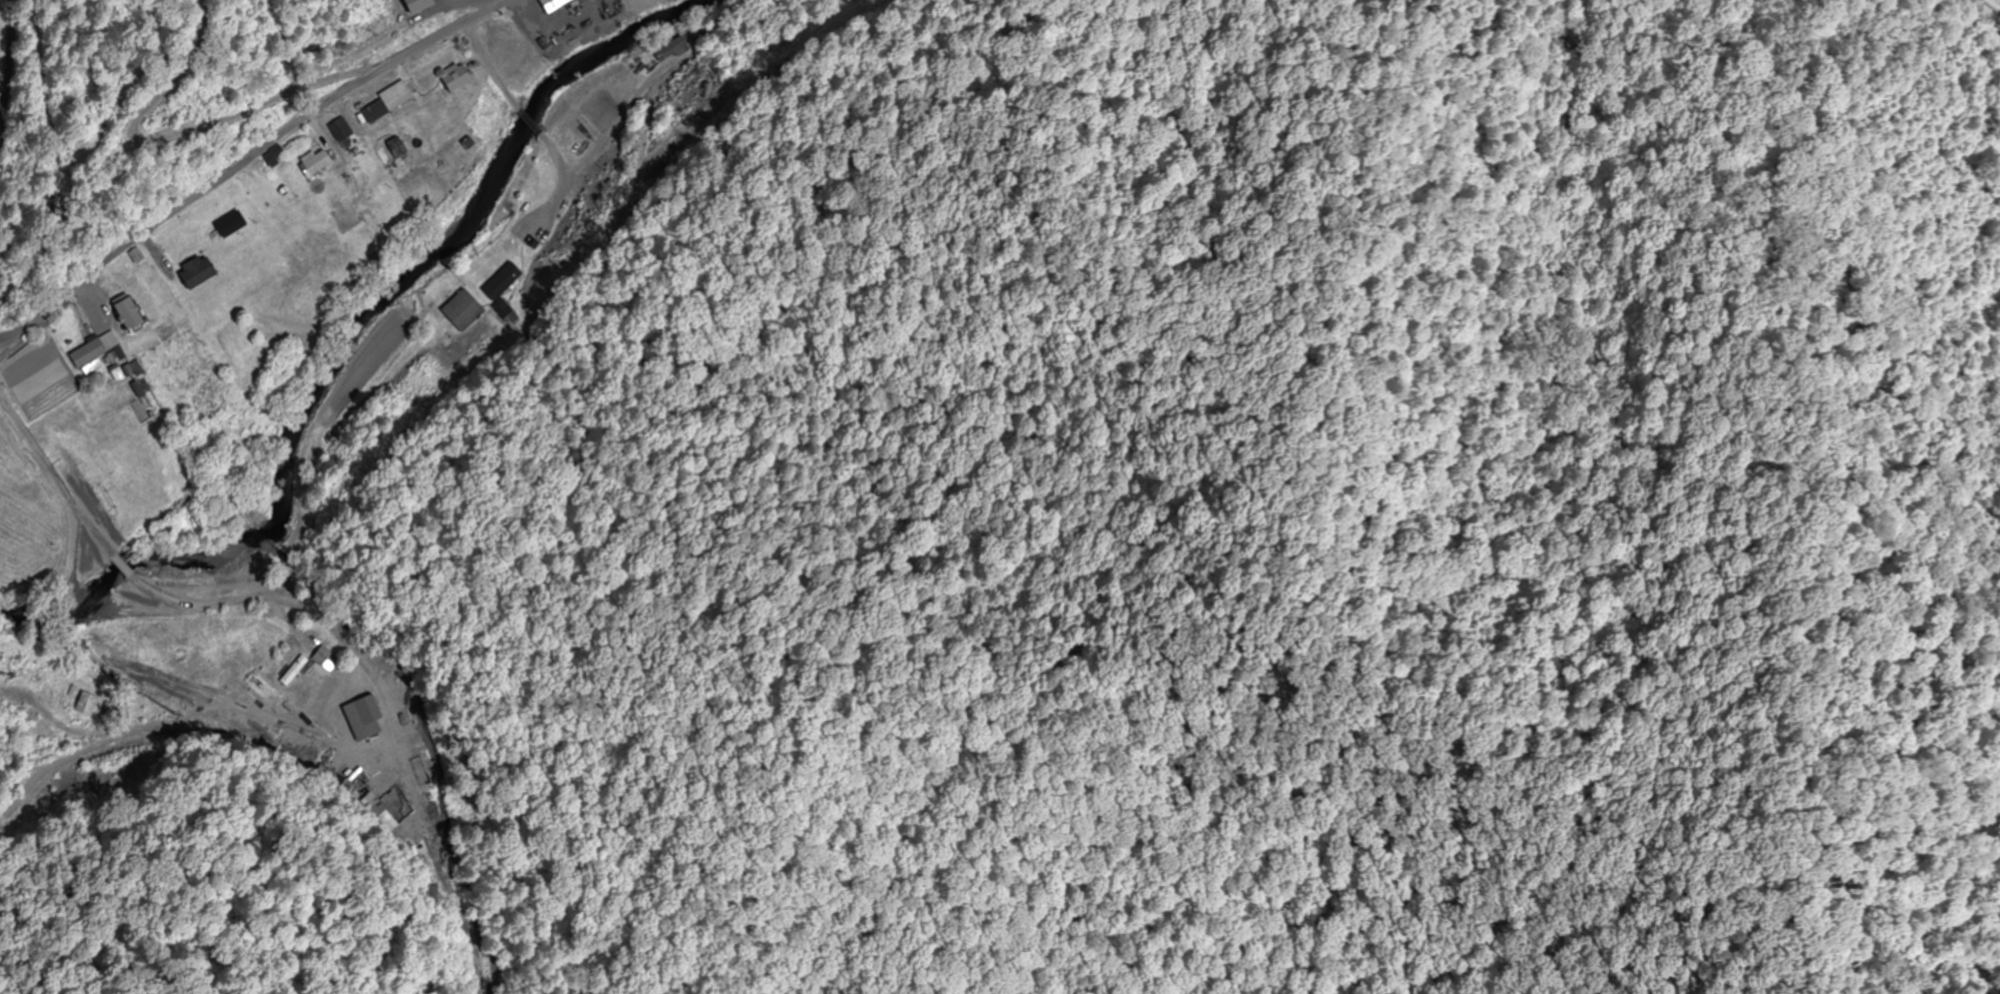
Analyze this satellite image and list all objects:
building: (408, 5)
building: (549, 5)
building: (678, 44)
building: (452, 77)
road: (16, 80)
building: (383, 102)
building: (340, 129)
road: (244, 163)
building: (313, 164)
building: (193, 273)
building: (502, 288)
building: (461, 312)
building: (122, 313)
building: (86, 354)
building: (323, 658)
building: (292, 671)
building: (85, 703)

